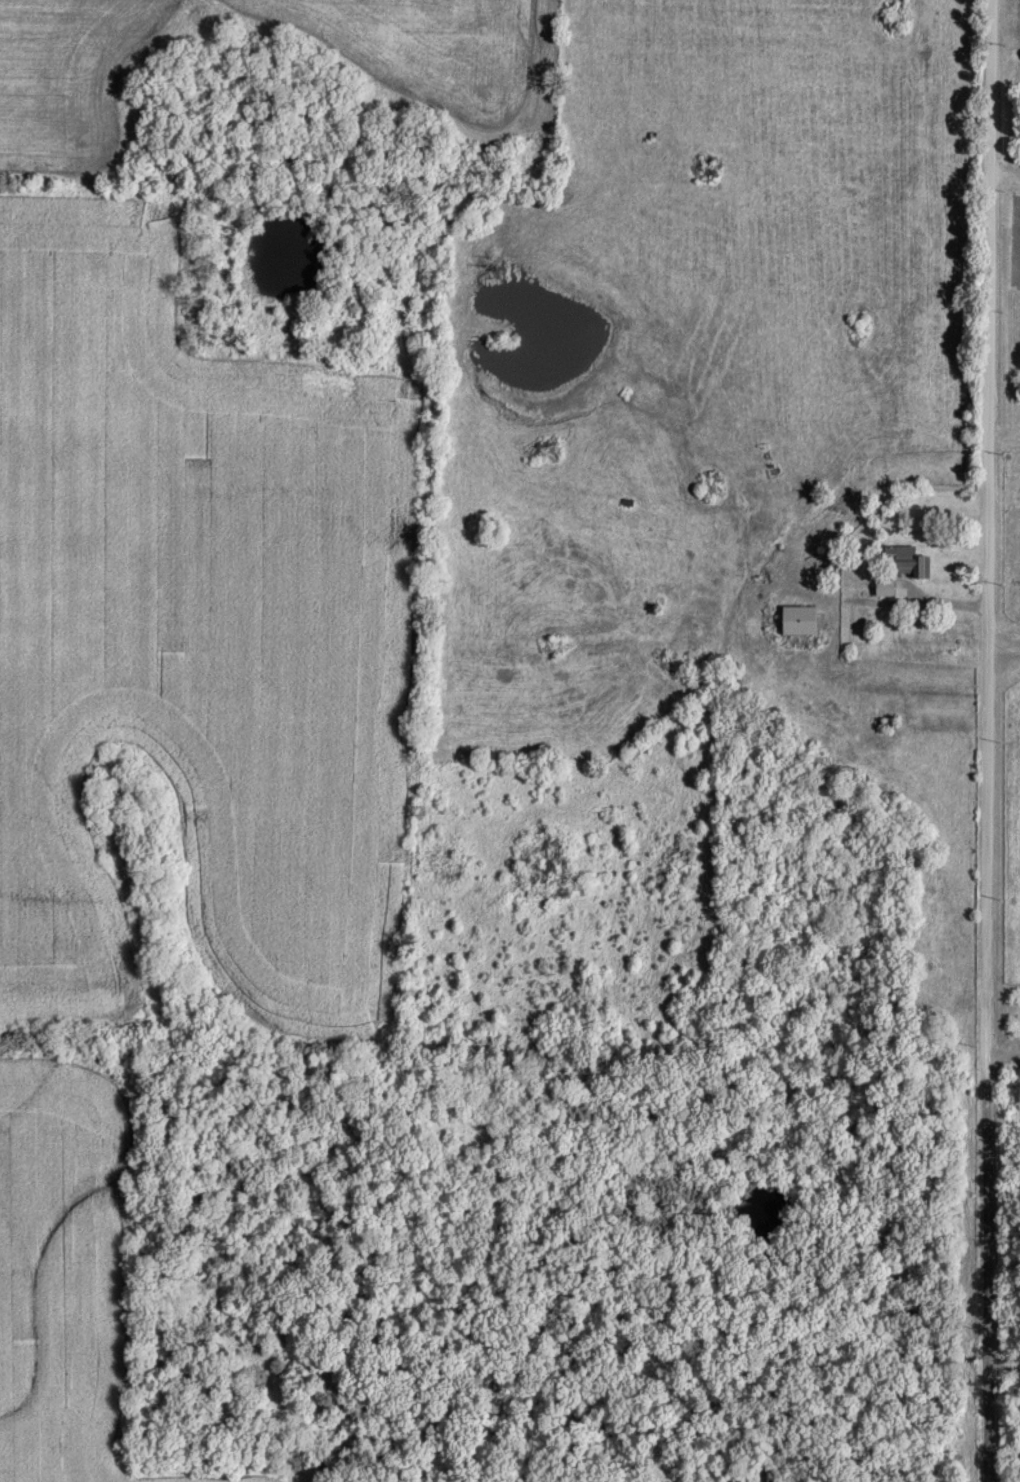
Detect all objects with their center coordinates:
road: (1005, 174)
building: (910, 561)
building: (884, 587)
road: (896, 597)
road: (989, 741)
road: (1003, 1056)

